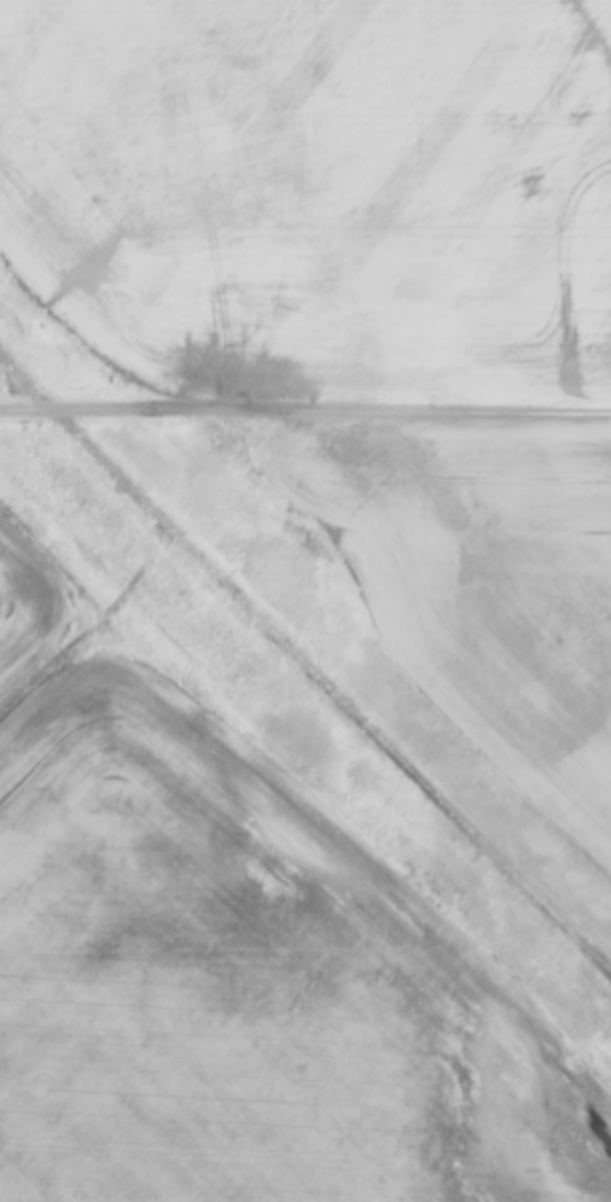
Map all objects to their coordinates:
road: (305, 405)

